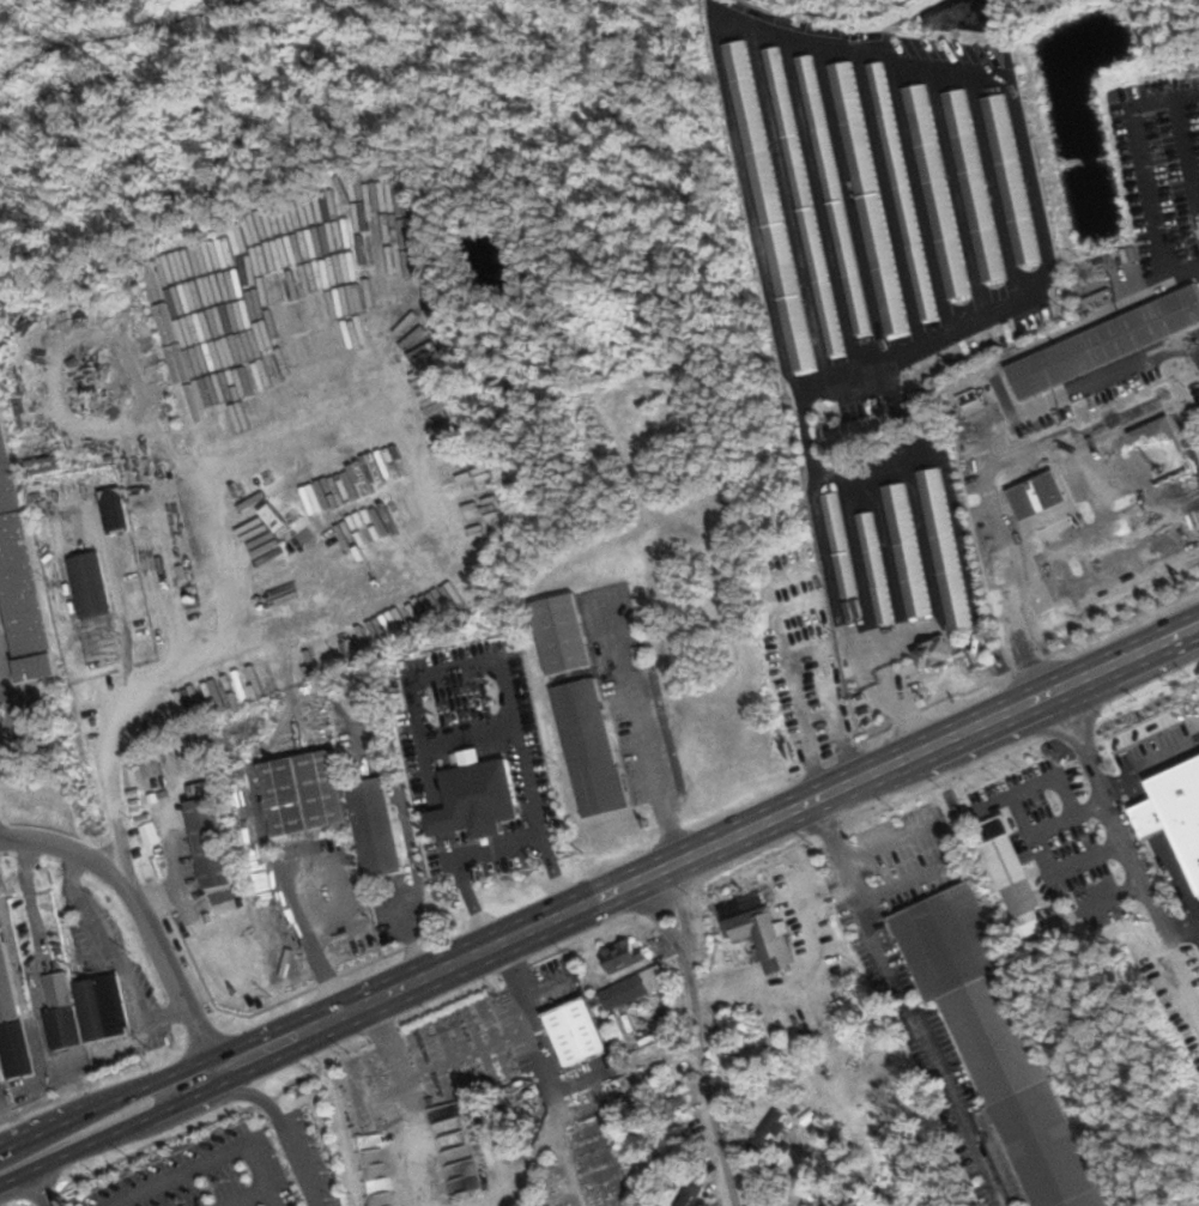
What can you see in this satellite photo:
building: (1010, 177)
building: (973, 186)
building: (901, 190)
building: (935, 192)
building: (832, 194)
building: (867, 198)
building: (803, 200)
building: (767, 205)
building: (1104, 341)
building: (1159, 452)
building: (1036, 495)
building: (113, 510)
building: (272, 516)
building: (838, 544)
building: (944, 549)
building: (906, 550)
building: (874, 568)
building: (18, 581)
building: (89, 584)
building: (559, 634)
building: (932, 653)
road: (166, 674)
building: (811, 701)
building: (588, 746)
road: (1080, 749)
building: (175, 758)
building: (150, 766)
building: (299, 793)
building: (478, 795)
building: (1181, 804)
building: (438, 820)
building: (373, 828)
building: (149, 834)
building: (207, 842)
road: (489, 846)
road: (708, 847)
road: (937, 848)
road: (1040, 852)
building: (1009, 869)
road: (1140, 881)
road: (141, 914)
road: (1180, 920)
building: (762, 938)
building: (620, 955)
road: (803, 974)
building: (622, 990)
road: (904, 1002)
building: (102, 1008)
building: (59, 1011)
building: (11, 1024)
building: (575, 1032)
road: (696, 1037)
building: (994, 1042)
building: (1, 1078)
road: (107, 1103)
road: (127, 1125)
road: (280, 1125)
building: (768, 1128)
road: (210, 1159)
road: (19, 1174)
road: (4, 1180)
building: (286, 1180)
road: (38, 1187)
road: (247, 1196)

